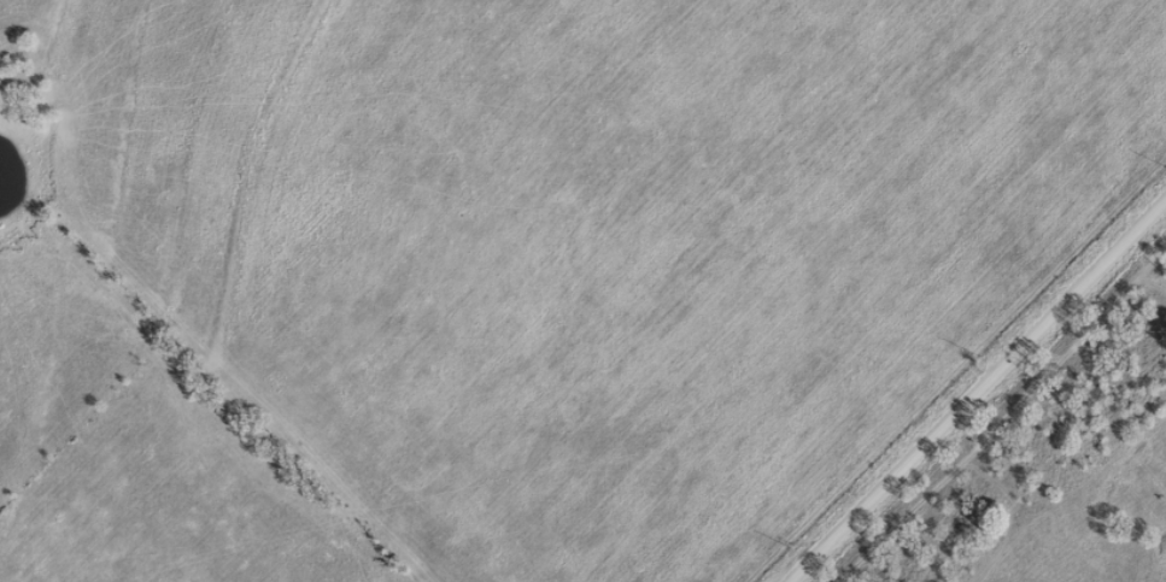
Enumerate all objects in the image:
road: (972, 386)

